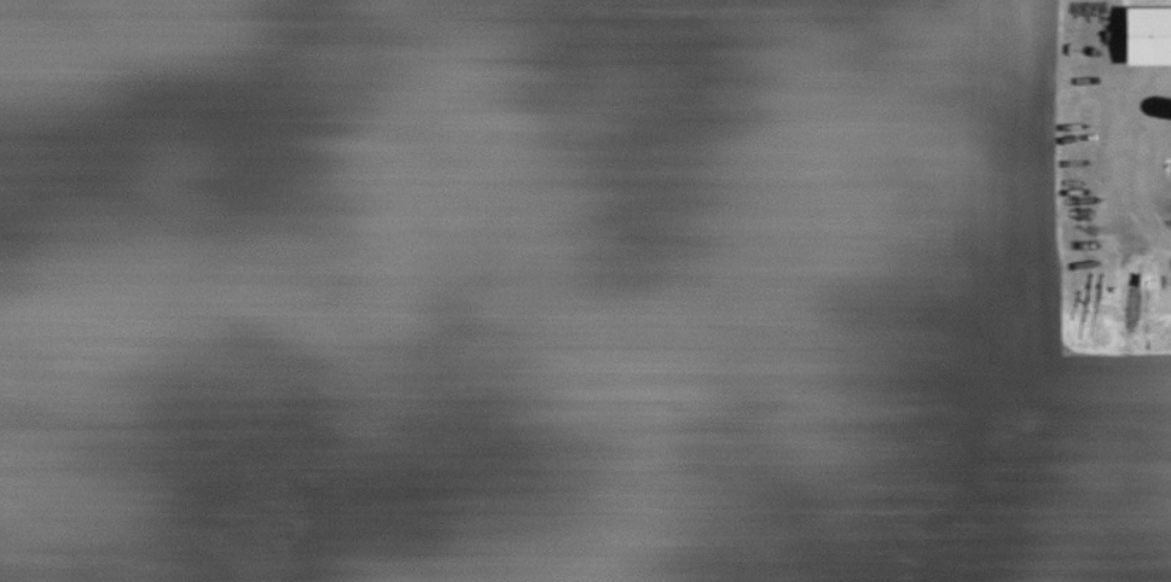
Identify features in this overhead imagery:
building: (1144, 37)

